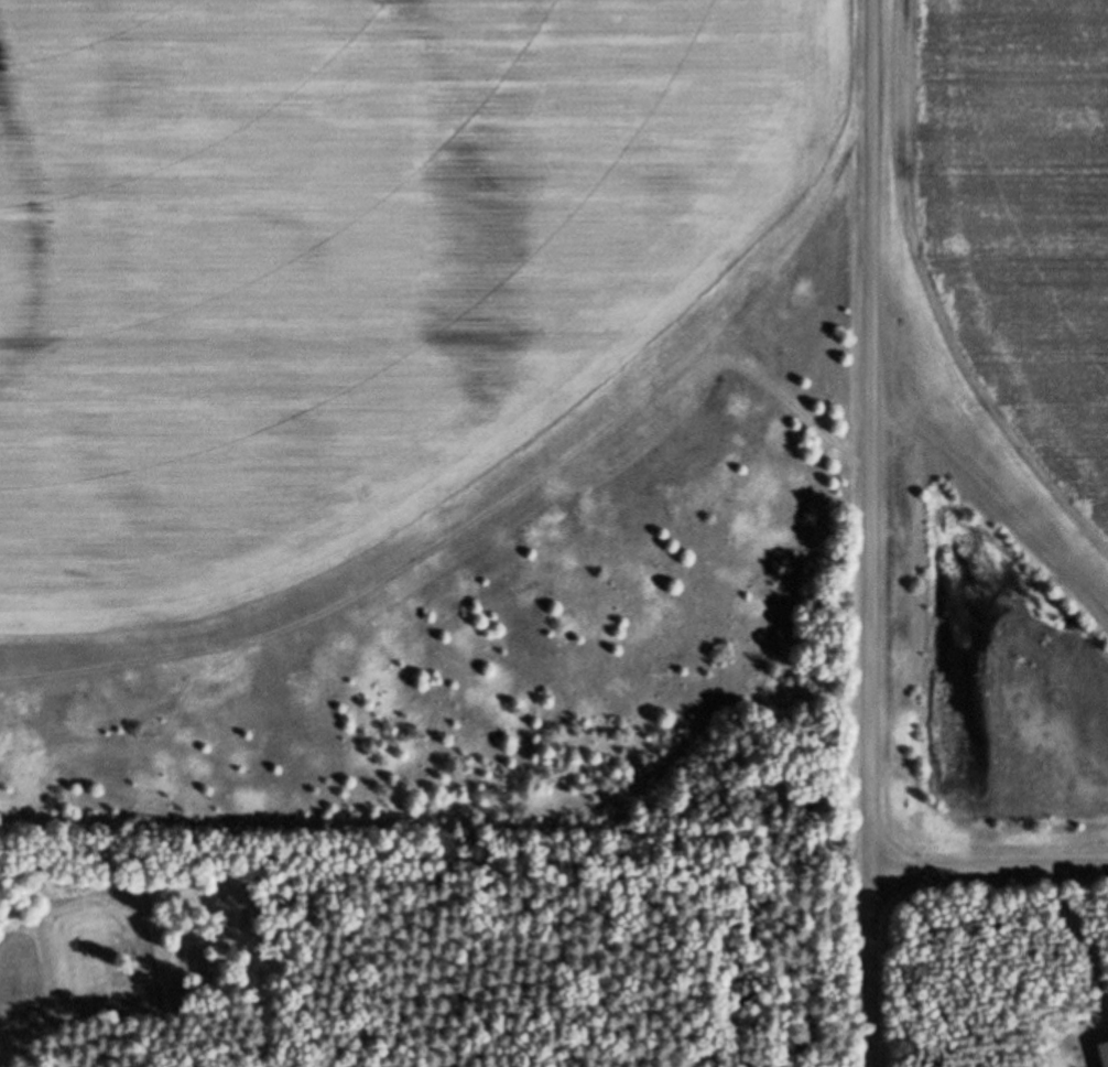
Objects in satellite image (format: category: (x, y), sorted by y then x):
crop: (406, 392)
crop: (1006, 410)
road: (871, 532)
road: (989, 871)

